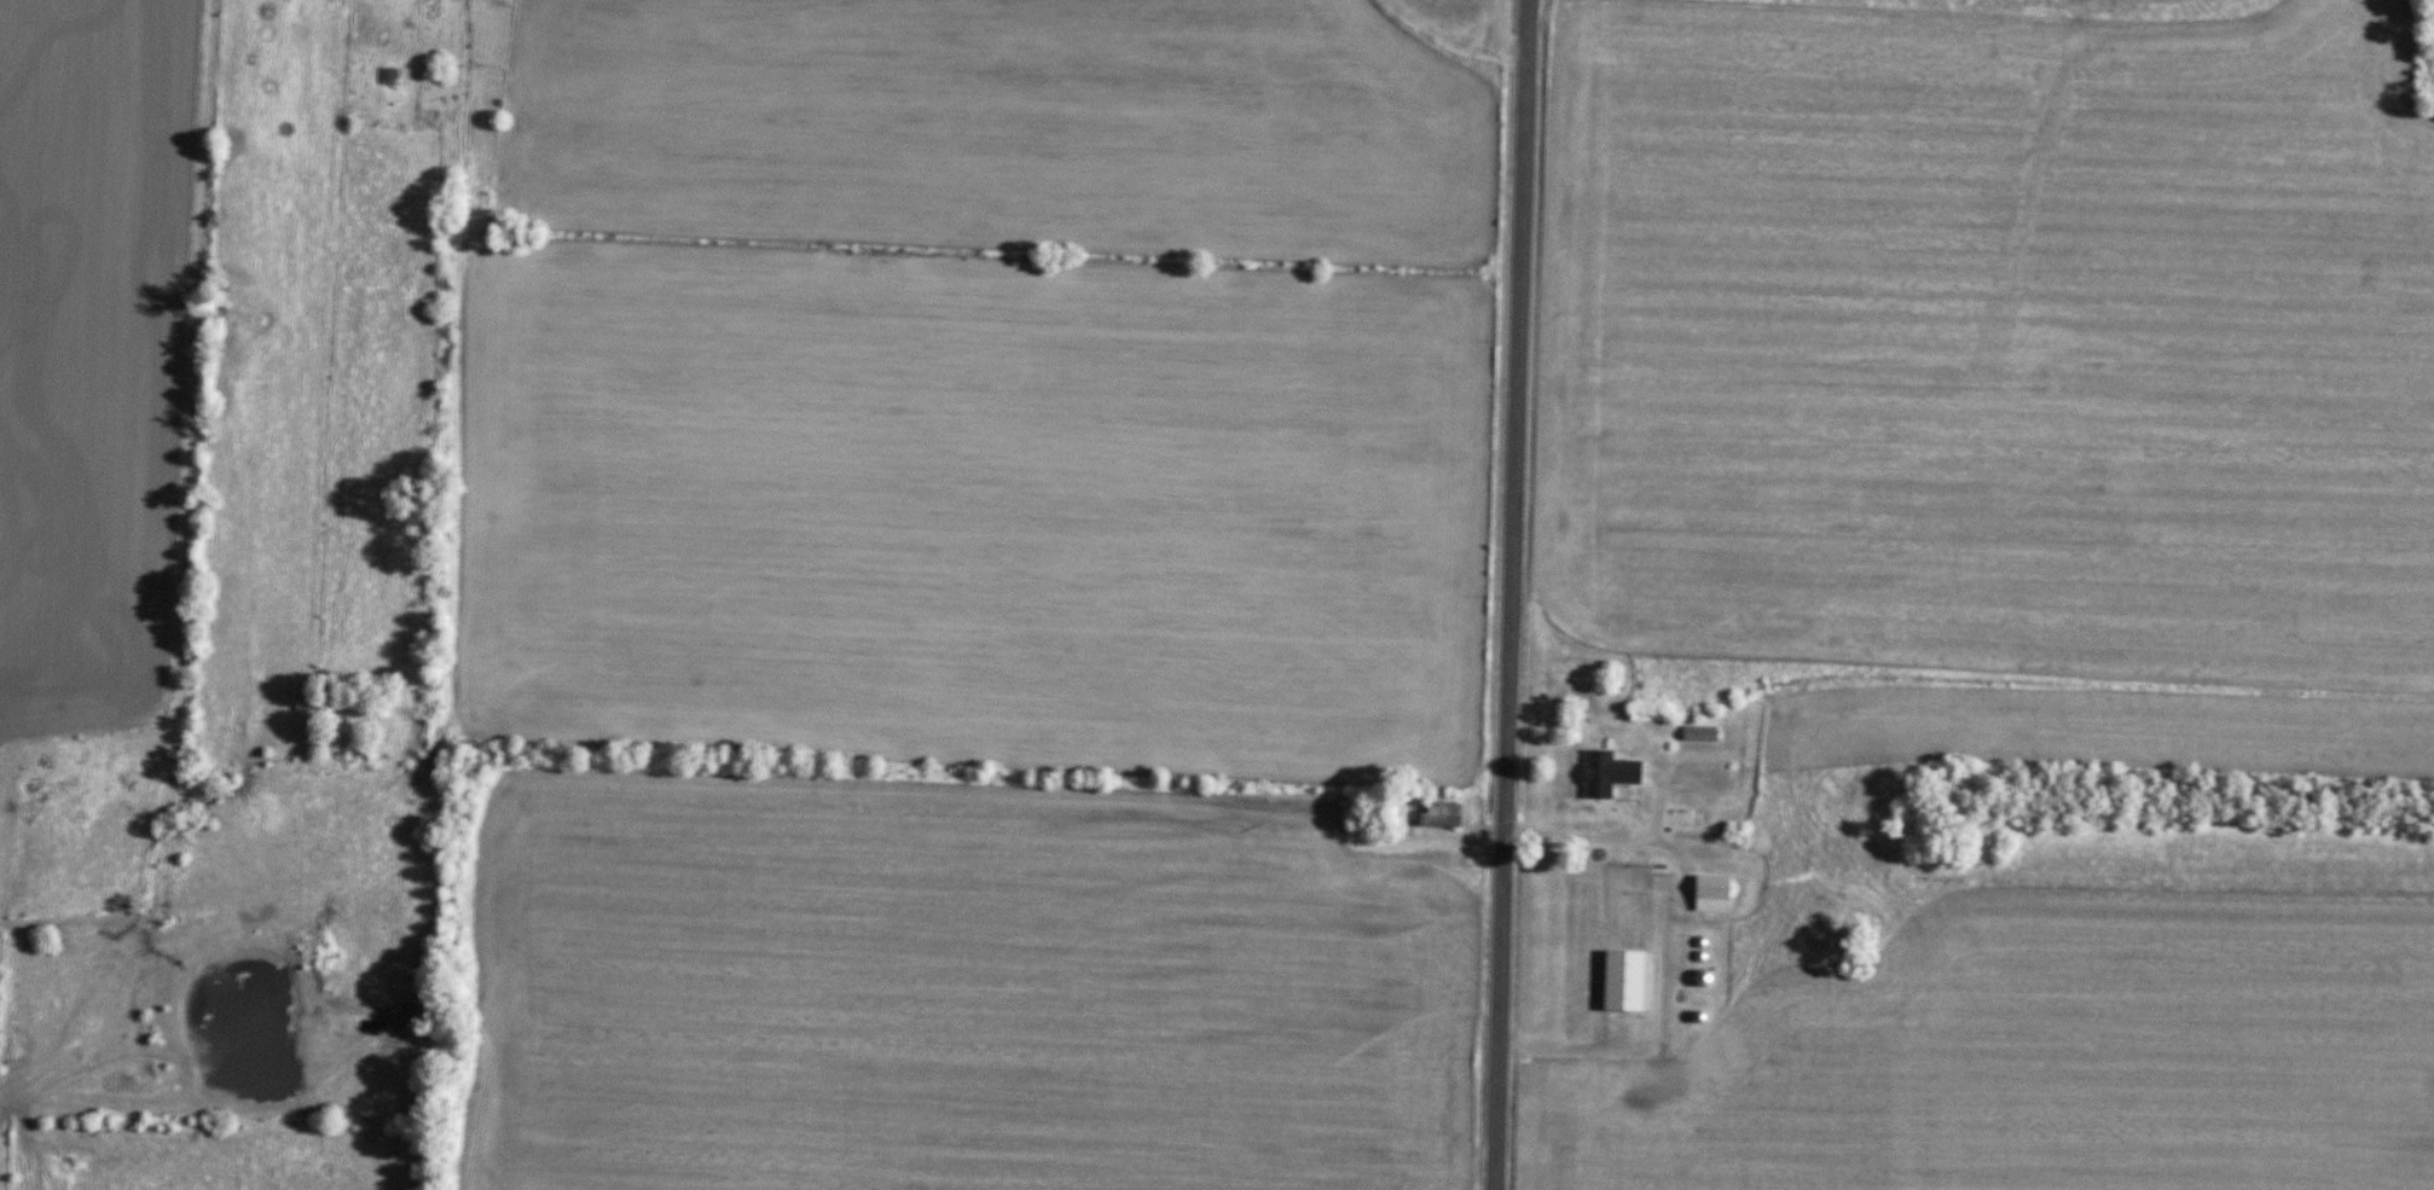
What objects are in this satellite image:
road: (366, 59)
road: (1512, 594)
building: (1702, 735)
building: (1609, 774)
building: (1442, 815)
building: (1686, 818)
road: (1588, 841)
building: (1714, 894)
building: (1625, 981)

